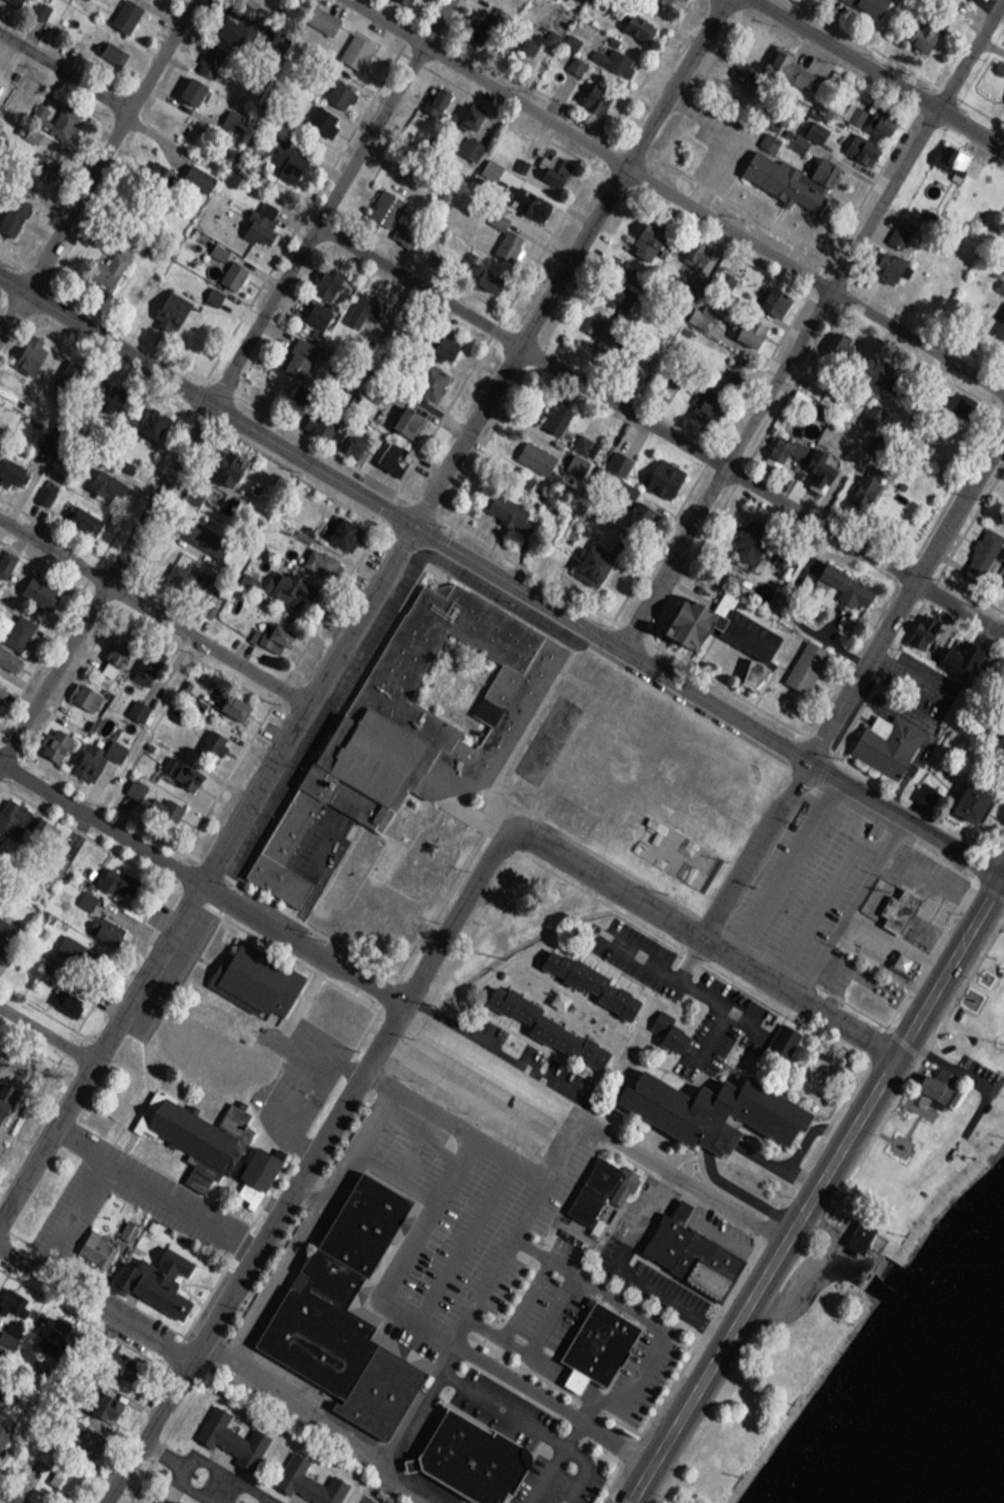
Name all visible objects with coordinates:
building: (399, 0)
building: (660, 1)
building: (867, 3)
building: (122, 11)
building: (318, 14)
building: (632, 20)
building: (226, 26)
building: (470, 26)
building: (914, 36)
building: (609, 54)
building: (573, 60)
building: (786, 65)
road: (873, 75)
building: (188, 86)
building: (335, 90)
building: (592, 93)
building: (433, 96)
building: (851, 109)
building: (466, 110)
building: (319, 114)
building: (228, 115)
building: (880, 116)
building: (812, 126)
road: (728, 140)
building: (467, 143)
building: (858, 144)
building: (947, 153)
building: (550, 163)
road: (94, 165)
building: (194, 172)
building: (785, 174)
road: (672, 199)
building: (382, 205)
building: (11, 210)
building: (255, 220)
building: (646, 227)
building: (506, 240)
building: (882, 262)
building: (105, 263)
building: (478, 272)
building: (323, 277)
building: (610, 290)
building: (770, 296)
road: (810, 325)
building: (998, 325)
building: (745, 327)
building: (440, 343)
road: (501, 343)
building: (27, 347)
building: (293, 360)
building: (630, 365)
road: (226, 376)
building: (879, 388)
building: (551, 412)
building: (316, 420)
building: (146, 421)
building: (349, 437)
building: (388, 451)
building: (532, 452)
building: (573, 458)
building: (225, 463)
building: (10, 466)
building: (814, 467)
building: (784, 468)
building: (660, 472)
building: (101, 479)
road: (404, 517)
building: (338, 527)
building: (1001, 553)
building: (5, 555)
building: (981, 555)
building: (587, 561)
building: (1001, 575)
building: (291, 580)
building: (842, 582)
building: (29, 583)
building: (440, 594)
road: (908, 598)
road: (360, 613)
road: (151, 618)
building: (684, 618)
building: (17, 625)
building: (269, 633)
building: (400, 636)
building: (964, 651)
building: (8, 656)
building: (518, 674)
building: (81, 691)
building: (230, 702)
building: (210, 737)
building: (51, 738)
building: (883, 738)
building: (93, 753)
building: (132, 783)
building: (965, 797)
building: (162, 802)
building: (9, 813)
road: (905, 818)
road: (753, 848)
road: (786, 868)
road: (1003, 875)
building: (112, 876)
road: (1003, 876)
road: (935, 880)
road: (200, 887)
building: (894, 903)
road: (852, 908)
road: (706, 940)
road: (882, 968)
building: (585, 976)
road: (686, 987)
building: (532, 1015)
building: (669, 1032)
road: (45, 1034)
building: (778, 1037)
road: (901, 1045)
building: (931, 1079)
building: (4, 1091)
road: (477, 1094)
building: (708, 1105)
road: (456, 1127)
road: (307, 1169)
building: (251, 1170)
building: (597, 1171)
road: (682, 1186)
road: (156, 1190)
road: (76, 1196)
road: (538, 1200)
building: (855, 1227)
road: (836, 1238)
building: (659, 1240)
building: (94, 1244)
road: (775, 1258)
road: (803, 1260)
road: (877, 1271)
building: (147, 1283)
building: (354, 1287)
road: (439, 1334)
building: (113, 1358)
road: (211, 1380)
road: (690, 1402)
building: (102, 1403)
road: (498, 1410)
building: (2, 1427)
building: (228, 1432)
building: (81, 1434)
building: (457, 1448)
road: (164, 1454)
road: (551, 1460)
road: (231, 1477)
building: (306, 1479)
road: (195, 1489)
building: (163, 1498)
road: (3, 1500)

